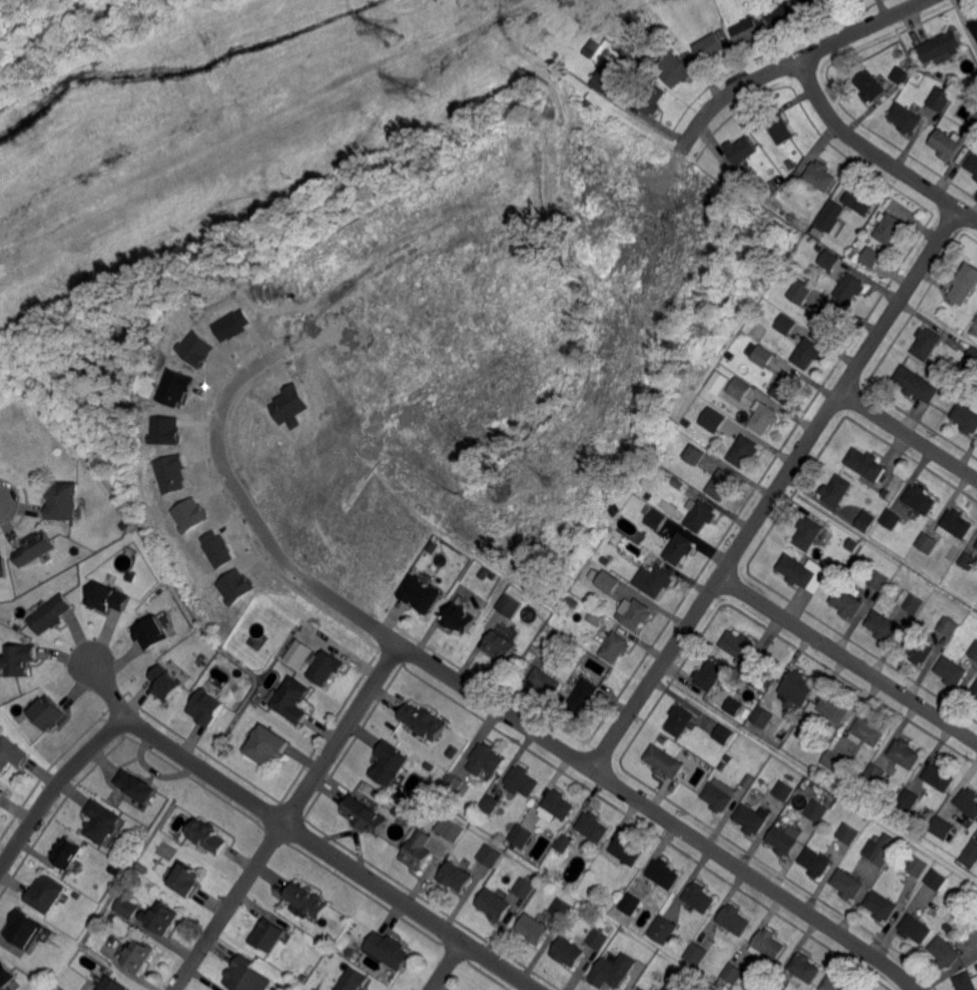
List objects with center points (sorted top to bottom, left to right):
building: (820, 4)
building: (783, 14)
building: (974, 26)
power tower: (388, 30)
building: (751, 30)
building: (638, 32)
building: (723, 33)
building: (711, 46)
building: (973, 46)
building: (940, 47)
building: (563, 54)
building: (644, 59)
road: (791, 63)
building: (677, 70)
building: (901, 75)
building: (917, 75)
building: (606, 82)
building: (871, 86)
power tower: (417, 89)
building: (652, 99)
building: (941, 99)
building: (906, 118)
building: (972, 122)
building: (780, 129)
building: (945, 143)
building: (742, 151)
road: (874, 152)
building: (972, 162)
building: (790, 164)
building: (821, 175)
building: (976, 177)
building: (773, 185)
building: (786, 195)
building: (859, 199)
building: (790, 217)
building: (829, 225)
building: (889, 227)
building: (854, 252)
building: (870, 256)
building: (830, 259)
building: (785, 271)
building: (965, 286)
building: (851, 288)
building: (802, 291)
building: (763, 303)
building: (830, 320)
building: (976, 320)
building: (230, 324)
building: (786, 324)
building: (927, 343)
building: (194, 347)
building: (808, 353)
building: (761, 355)
building: (731, 356)
building: (972, 357)
building: (718, 379)
building: (917, 383)
building: (172, 385)
building: (787, 386)
building: (964, 386)
building: (740, 388)
building: (287, 403)
building: (966, 418)
building: (715, 419)
building: (765, 419)
building: (688, 422)
building: (162, 429)
road: (909, 435)
building: (745, 452)
building: (697, 455)
building: (866, 463)
building: (168, 472)
building: (279, 482)
building: (678, 484)
building: (723, 484)
road: (776, 489)
building: (838, 490)
building: (677, 493)
building: (886, 494)
building: (649, 497)
building: (920, 500)
building: (61, 501)
road: (239, 502)
building: (188, 514)
building: (701, 514)
building: (891, 518)
building: (657, 520)
building: (866, 520)
building: (120, 524)
building: (956, 525)
building: (809, 533)
building: (928, 542)
building: (216, 547)
building: (976, 547)
building: (680, 548)
building: (34, 549)
building: (815, 557)
building: (968, 561)
building: (2, 566)
building: (854, 569)
building: (797, 570)
building: (223, 575)
building: (622, 575)
building: (130, 577)
building: (493, 577)
building: (68, 580)
building: (655, 580)
building: (879, 580)
building: (609, 581)
building: (233, 586)
building: (422, 595)
building: (107, 597)
building: (910, 602)
building: (572, 603)
building: (847, 603)
building: (509, 605)
building: (636, 612)
building: (51, 615)
building: (596, 617)
building: (461, 619)
building: (882, 625)
building: (949, 626)
building: (152, 632)
building: (320, 635)
building: (615, 646)
building: (501, 647)
building: (918, 648)
building: (535, 649)
building: (974, 650)
building: (744, 651)
building: (297, 653)
road: (848, 659)
building: (19, 660)
building: (328, 669)
building: (951, 671)
building: (710, 675)
building: (544, 682)
building: (167, 683)
building: (797, 688)
building: (975, 690)
building: (584, 697)
building: (561, 699)
building: (294, 700)
building: (734, 706)
building: (208, 707)
building: (830, 708)
building: (746, 710)
building: (49, 713)
building: (763, 717)
building: (424, 720)
building: (680, 720)
building: (868, 732)
building: (724, 734)
building: (663, 739)
building: (267, 744)
building: (828, 745)
building: (905, 753)
building: (11, 755)
building: (487, 758)
building: (836, 760)
building: (389, 762)
building: (664, 762)
building: (723, 765)
building: (875, 772)
building: (939, 776)
building: (522, 781)
building: (454, 782)
road: (56, 786)
building: (139, 787)
building: (783, 791)
building: (1, 794)
building: (720, 795)
building: (909, 800)
building: (968, 802)
building: (490, 803)
building: (559, 804)
road: (646, 805)
building: (397, 812)
building: (817, 812)
building: (930, 812)
building: (365, 813)
road: (290, 819)
building: (412, 819)
building: (752, 820)
building: (968, 821)
building: (102, 823)
building: (593, 826)
building: (942, 827)
building: (448, 828)
road: (298, 830)
building: (848, 833)
building: (521, 836)
building: (208, 837)
building: (785, 839)
building: (564, 842)
building: (160, 849)
building: (627, 849)
building: (418, 850)
building: (881, 850)
building: (69, 852)
building: (970, 855)
building: (491, 856)
building: (816, 862)
building: (116, 865)
building: (139, 866)
building: (917, 866)
building: (664, 873)
building: (456, 876)
building: (187, 878)
building: (936, 879)
building: (497, 880)
building: (848, 884)
building: (524, 889)
building: (48, 893)
building: (78, 895)
building: (700, 897)
building: (307, 899)
building: (631, 903)
building: (495, 904)
building: (881, 905)
building: (127, 906)
building: (561, 907)
building: (163, 917)
building: (735, 919)
building: (948, 927)
building: (534, 928)
building: (663, 928)
building: (915, 928)
building: (27, 930)
building: (267, 934)
building: (597, 937)
building: (330, 941)
building: (768, 945)
building: (389, 949)
building: (569, 951)
building: (945, 952)
building: (350, 953)
building: (138, 954)
building: (697, 954)
road: (446, 965)
building: (976, 966)
building: (804, 969)
building: (614, 970)
building: (733, 973)
building: (6, 974)
building: (247, 975)
building: (304, 978)
building: (353, 980)
building: (965, 981)
building: (676, 983)
building: (112, 984)
building: (835, 984)
building: (768, 987)
building: (639, 988)
building: (642, 988)

